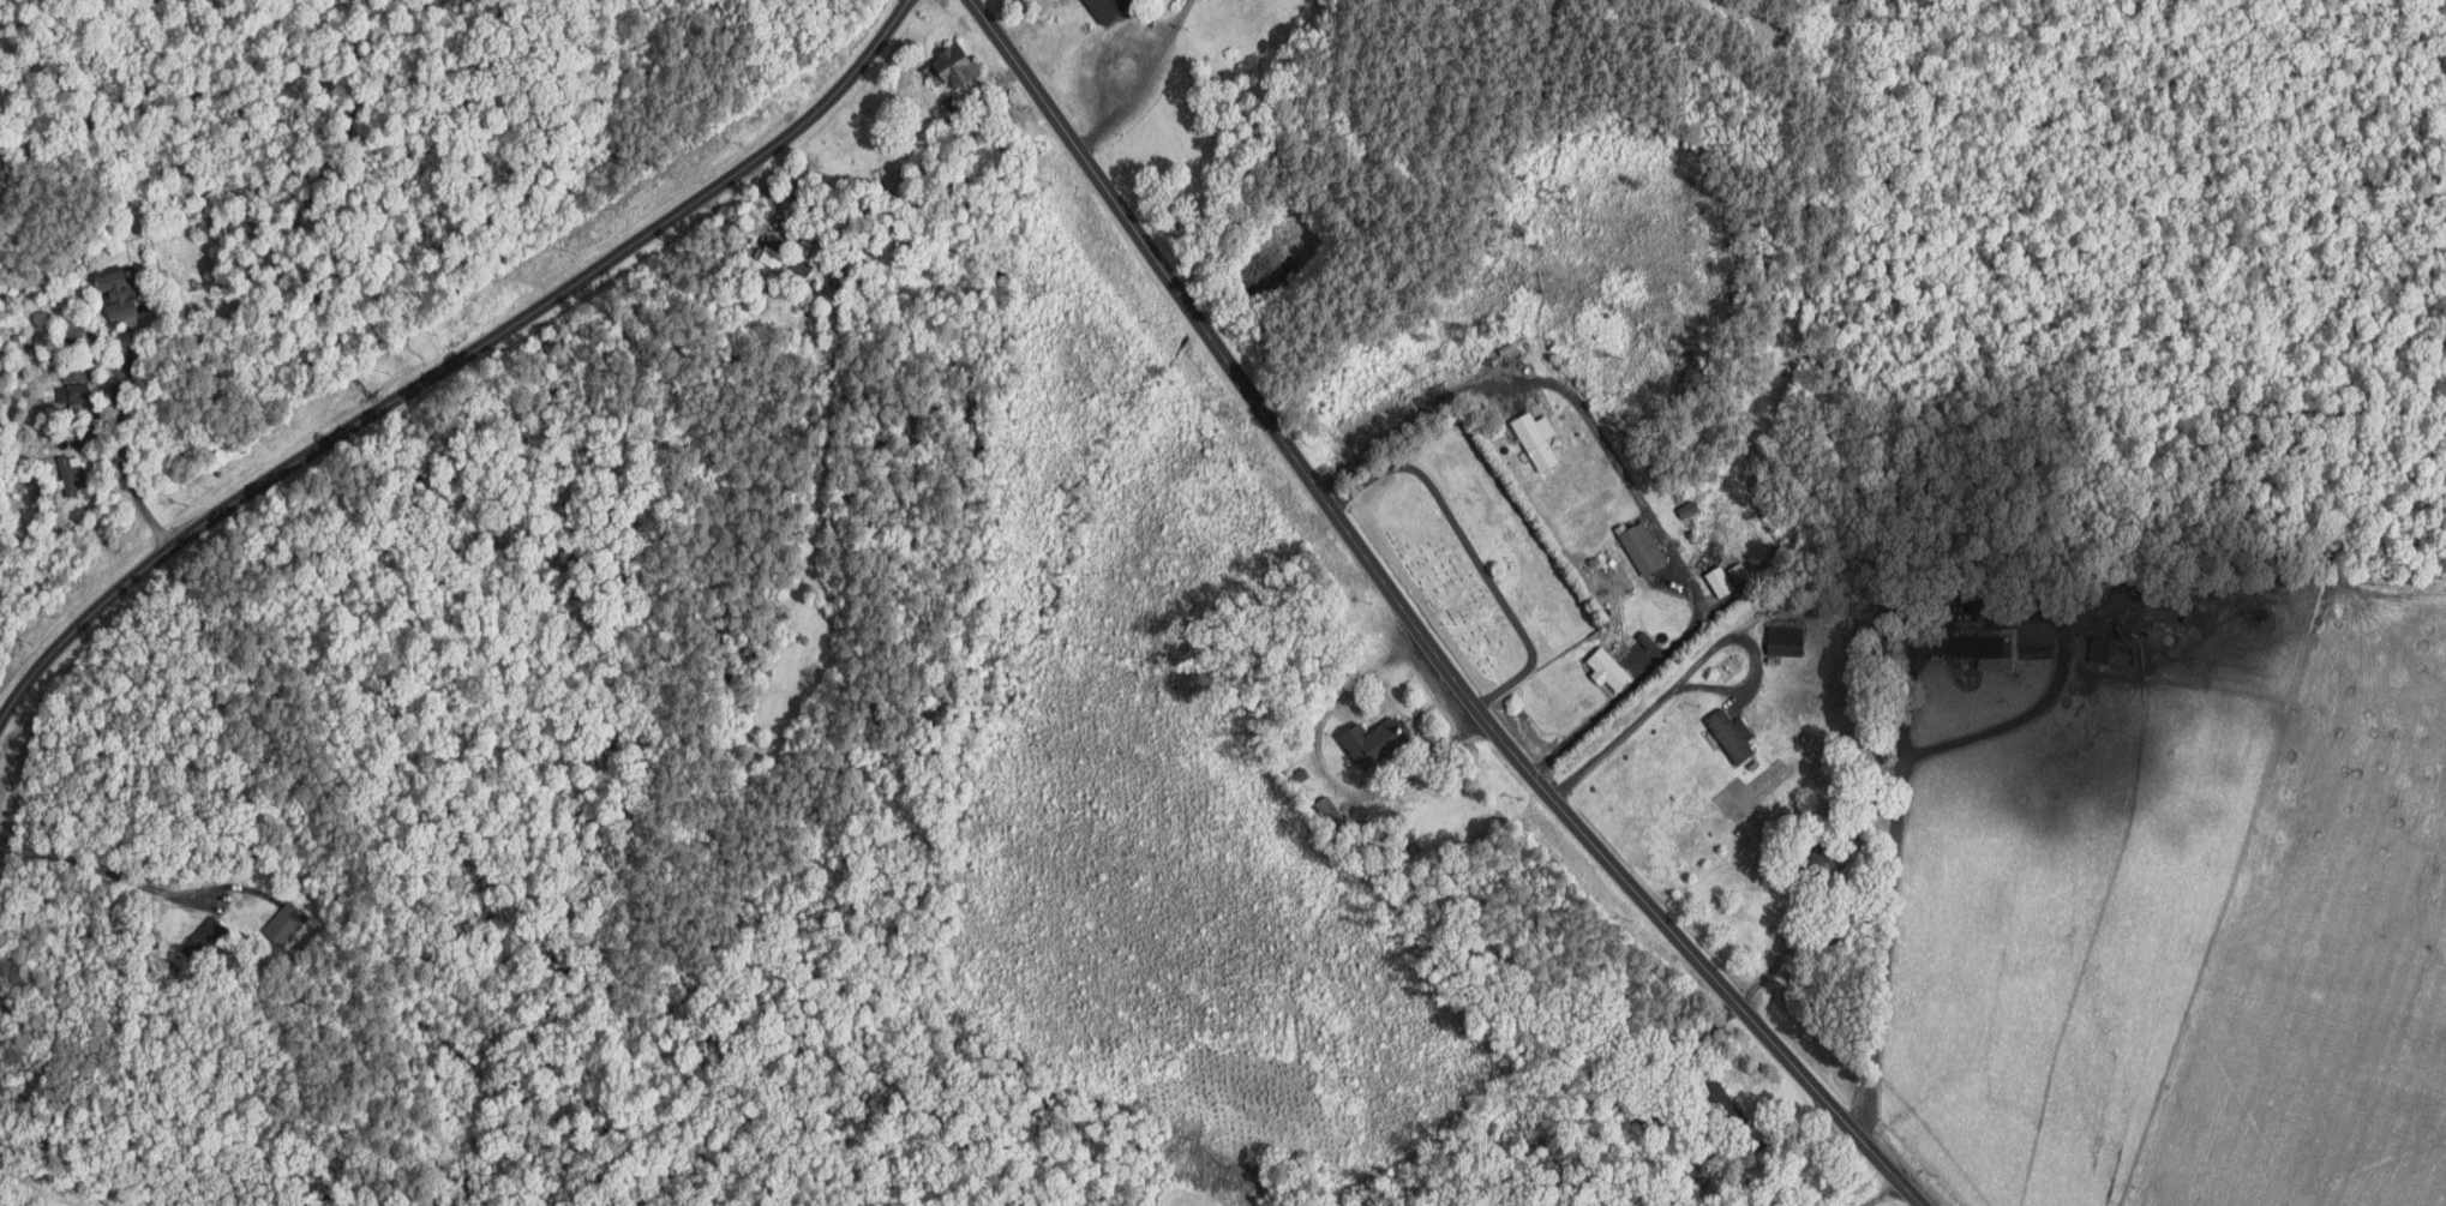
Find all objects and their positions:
building: (1111, 8)
building: (953, 67)
road: (1140, 79)
building: (121, 295)
road: (451, 360)
road: (1523, 379)
building: (74, 392)
road: (121, 430)
building: (1537, 438)
building: (72, 474)
building: (1642, 545)
building: (1738, 571)
building: (1721, 580)
road: (1419, 619)
building: (1647, 638)
building: (1786, 640)
building: (1979, 644)
building: (2100, 647)
building: (1608, 667)
road: (1690, 668)
road: (1643, 676)
building: (1734, 733)
road: (1972, 736)
building: (1378, 739)
road: (107, 871)
building: (286, 922)
building: (205, 937)
road: (1785, 943)
road: (1868, 1194)
road: (1886, 1199)

